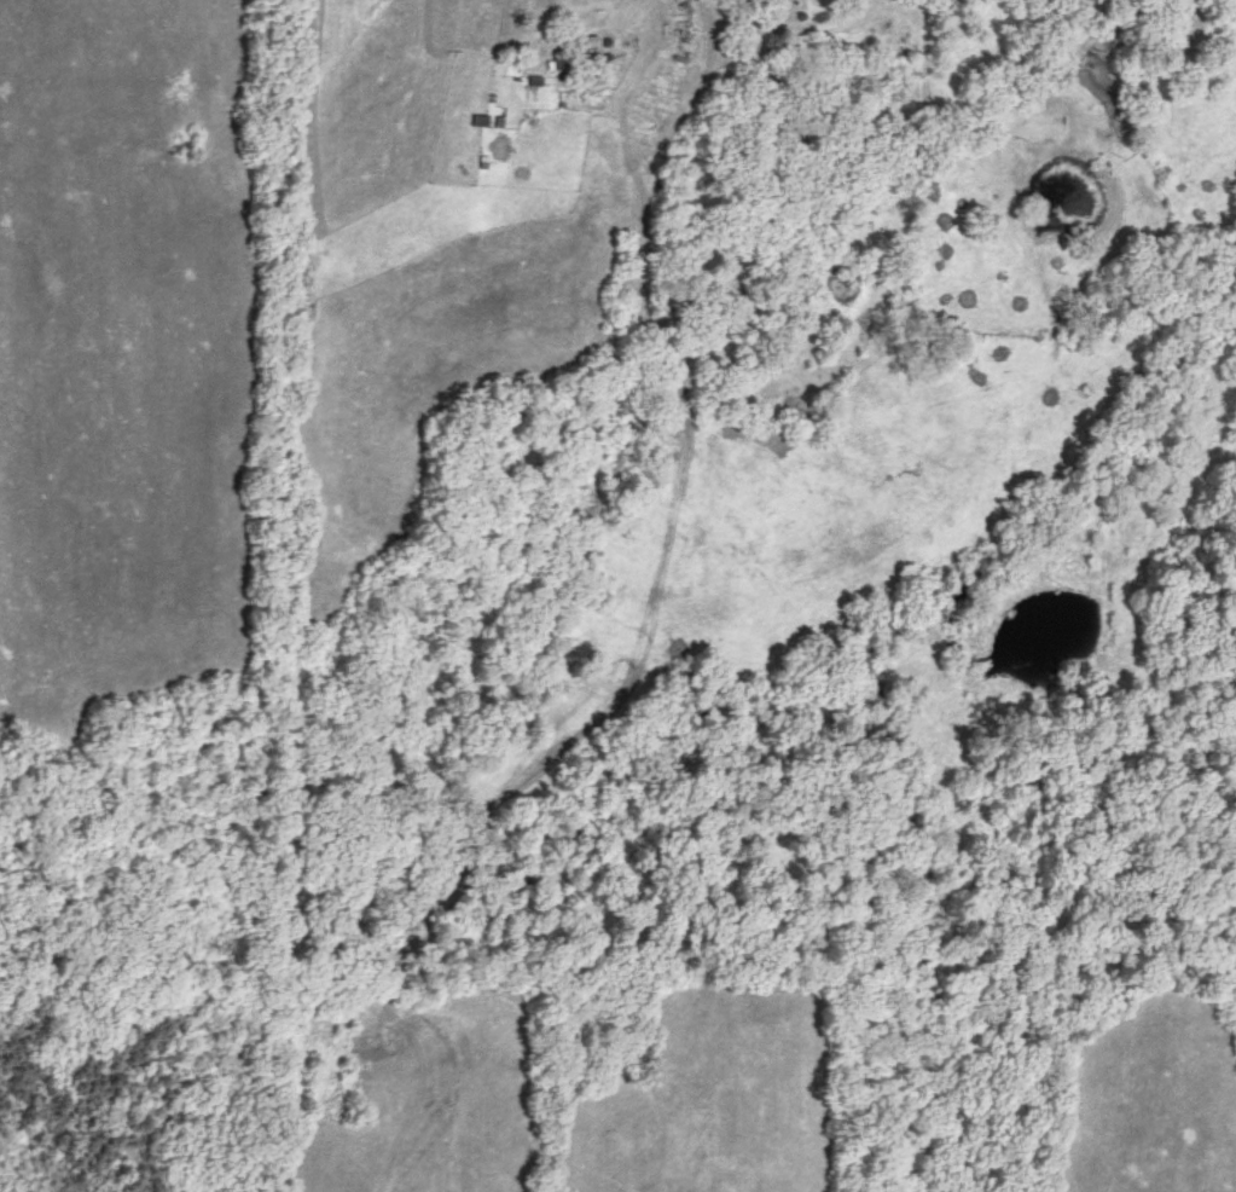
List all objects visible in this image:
building: (1176, 23)
building: (557, 58)

